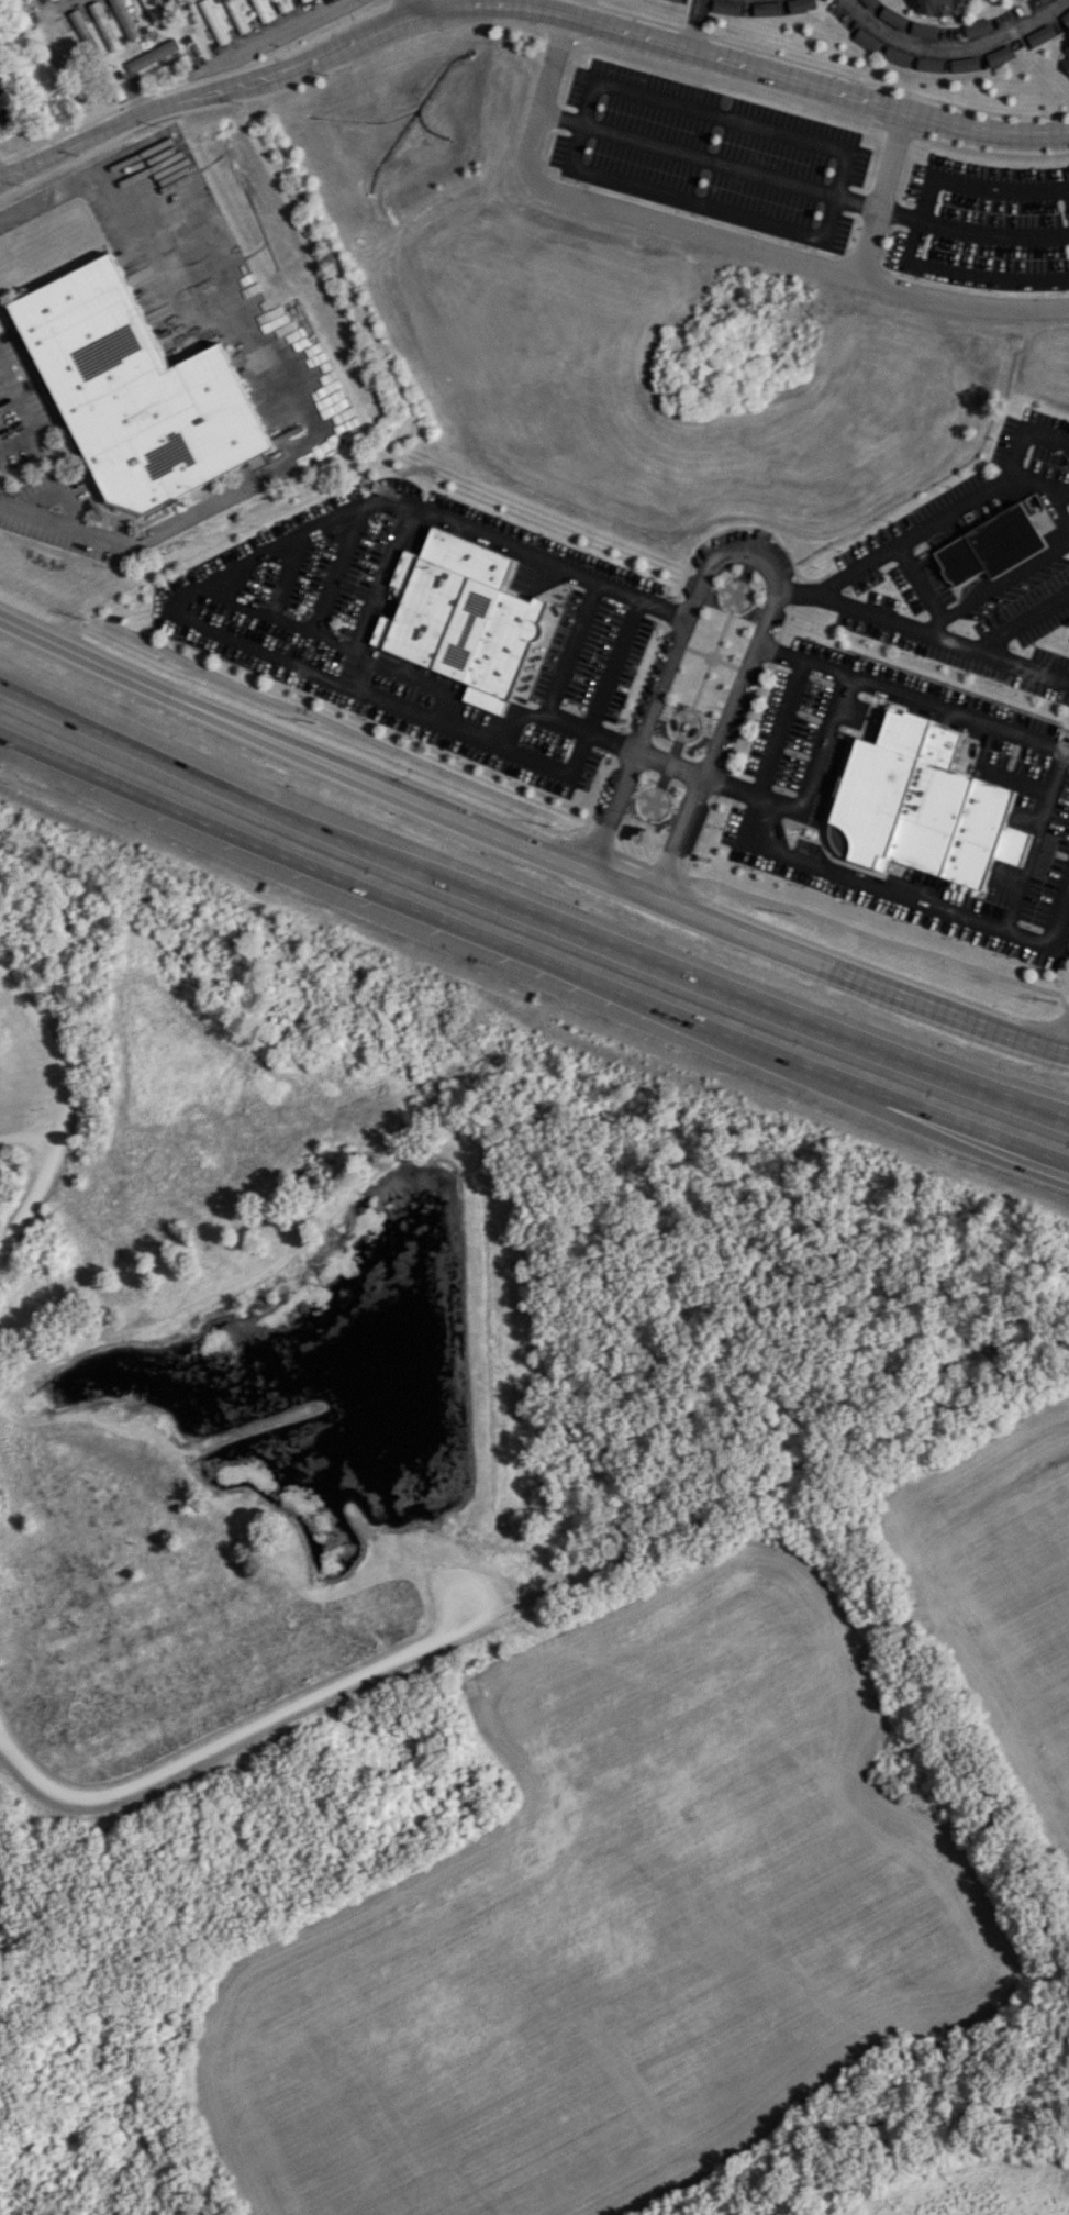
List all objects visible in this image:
building: (301, 0)
building: (676, 0)
building: (1040, 0)
building: (869, 2)
building: (799, 4)
building: (940, 5)
road: (409, 7)
building: (725, 7)
road: (55, 8)
building: (766, 8)
building: (261, 10)
building: (152, 11)
building: (236, 16)
building: (892, 16)
building: (1065, 16)
building: (125, 18)
building: (213, 21)
building: (104, 25)
building: (976, 27)
building: (82, 29)
building: (923, 29)
road: (558, 32)
road: (270, 34)
building: (1039, 35)
road: (951, 46)
building: (152, 55)
building: (999, 55)
building: (895, 56)
building: (1066, 59)
road: (279, 71)
road: (814, 86)
road: (975, 109)
road: (580, 113)
road: (983, 152)
road: (727, 167)
road: (881, 197)
road: (627, 214)
road: (915, 229)
road: (992, 234)
road: (961, 301)
road: (272, 366)
building: (137, 390)
road: (24, 412)
road: (1016, 454)
road: (1039, 481)
road: (1048, 481)
building: (991, 546)
road: (891, 547)
road: (755, 554)
road: (335, 568)
road: (285, 576)
road: (538, 577)
road: (921, 580)
road: (995, 586)
road: (377, 595)
road: (665, 608)
building: (463, 617)
road: (786, 619)
road: (1024, 622)
road: (925, 630)
road: (215, 633)
road: (344, 646)
road: (571, 649)
road: (913, 697)
road: (634, 702)
road: (823, 744)
road: (398, 750)
road: (639, 755)
road: (175, 765)
road: (991, 767)
road: (760, 789)
building: (921, 802)
road: (1035, 842)
road: (530, 846)
road: (297, 860)
road: (969, 919)
road: (953, 960)
road: (708, 988)
road: (715, 1030)
road: (58, 1072)
road: (951, 1119)
road: (947, 1140)
road: (33, 1193)
dam: (463, 1333)
road: (869, 1576)
parking lot: (480, 1617)
road: (253, 1726)

